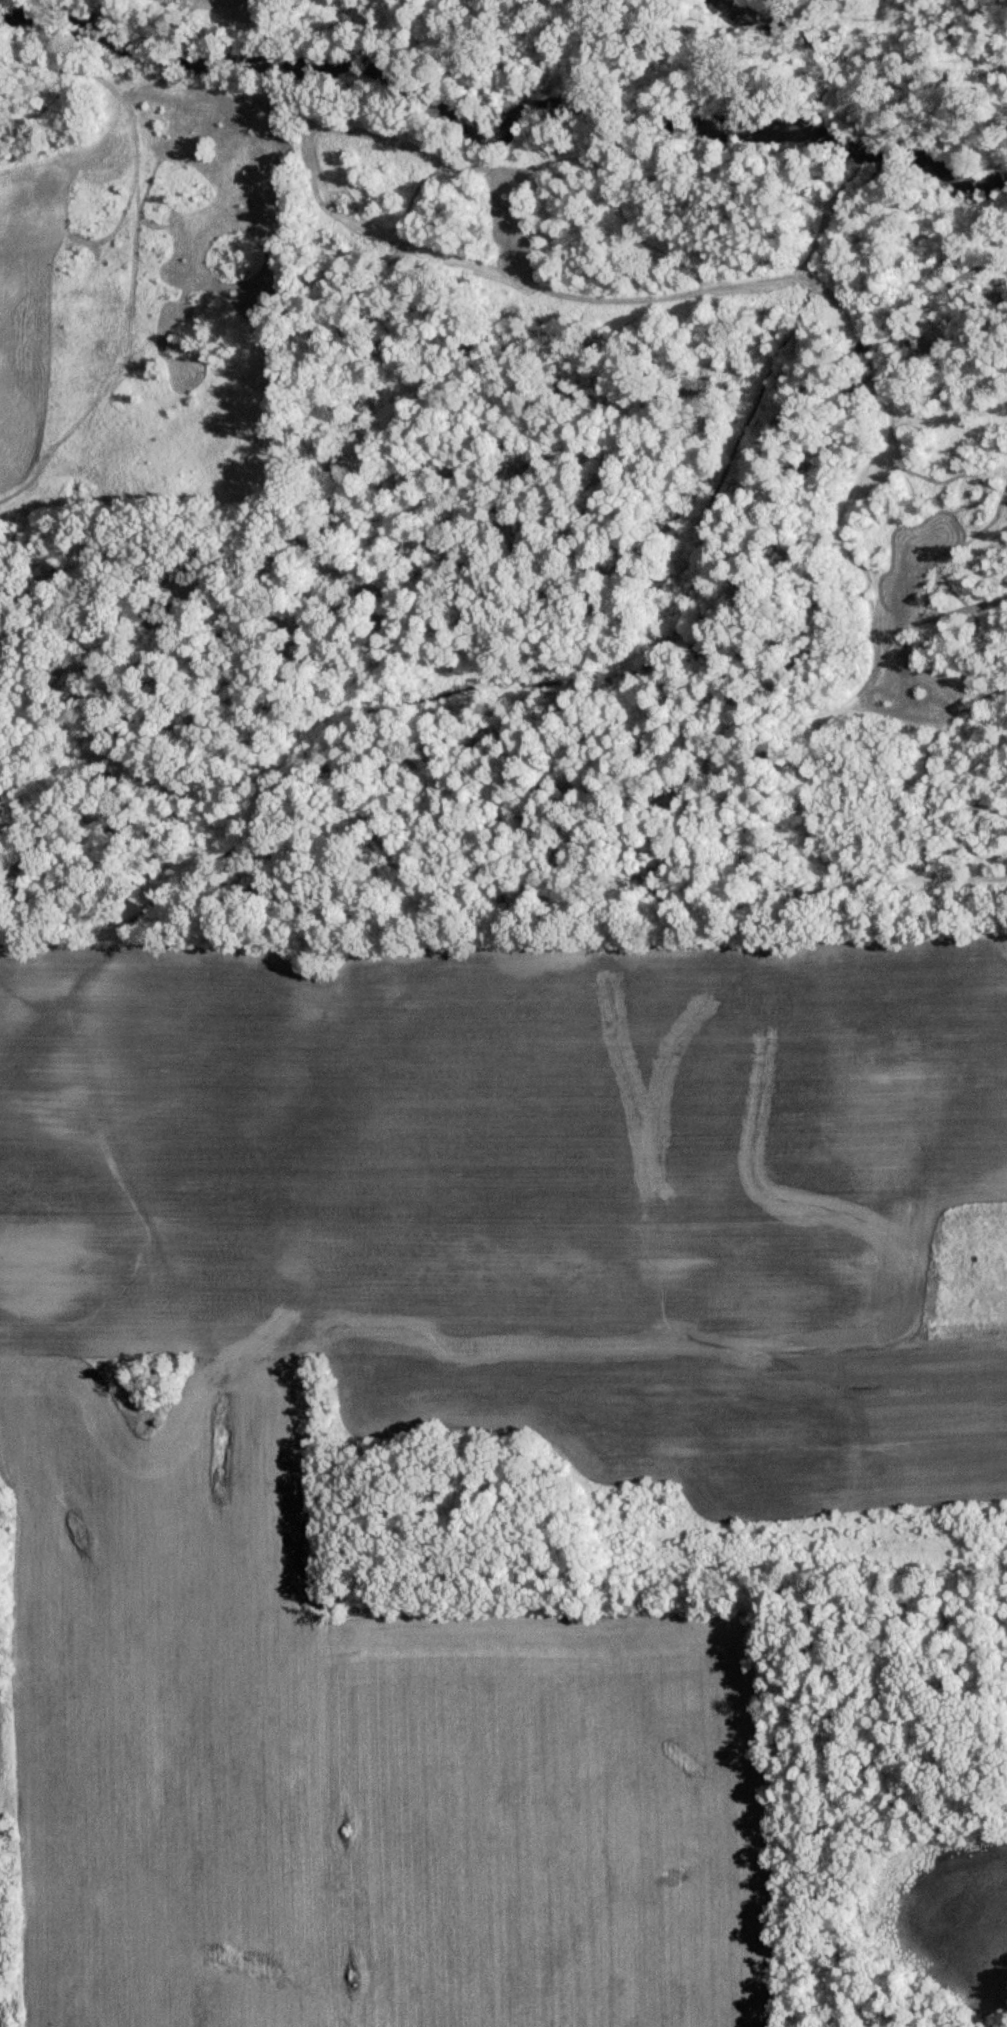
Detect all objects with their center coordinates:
river: (501, 134)

